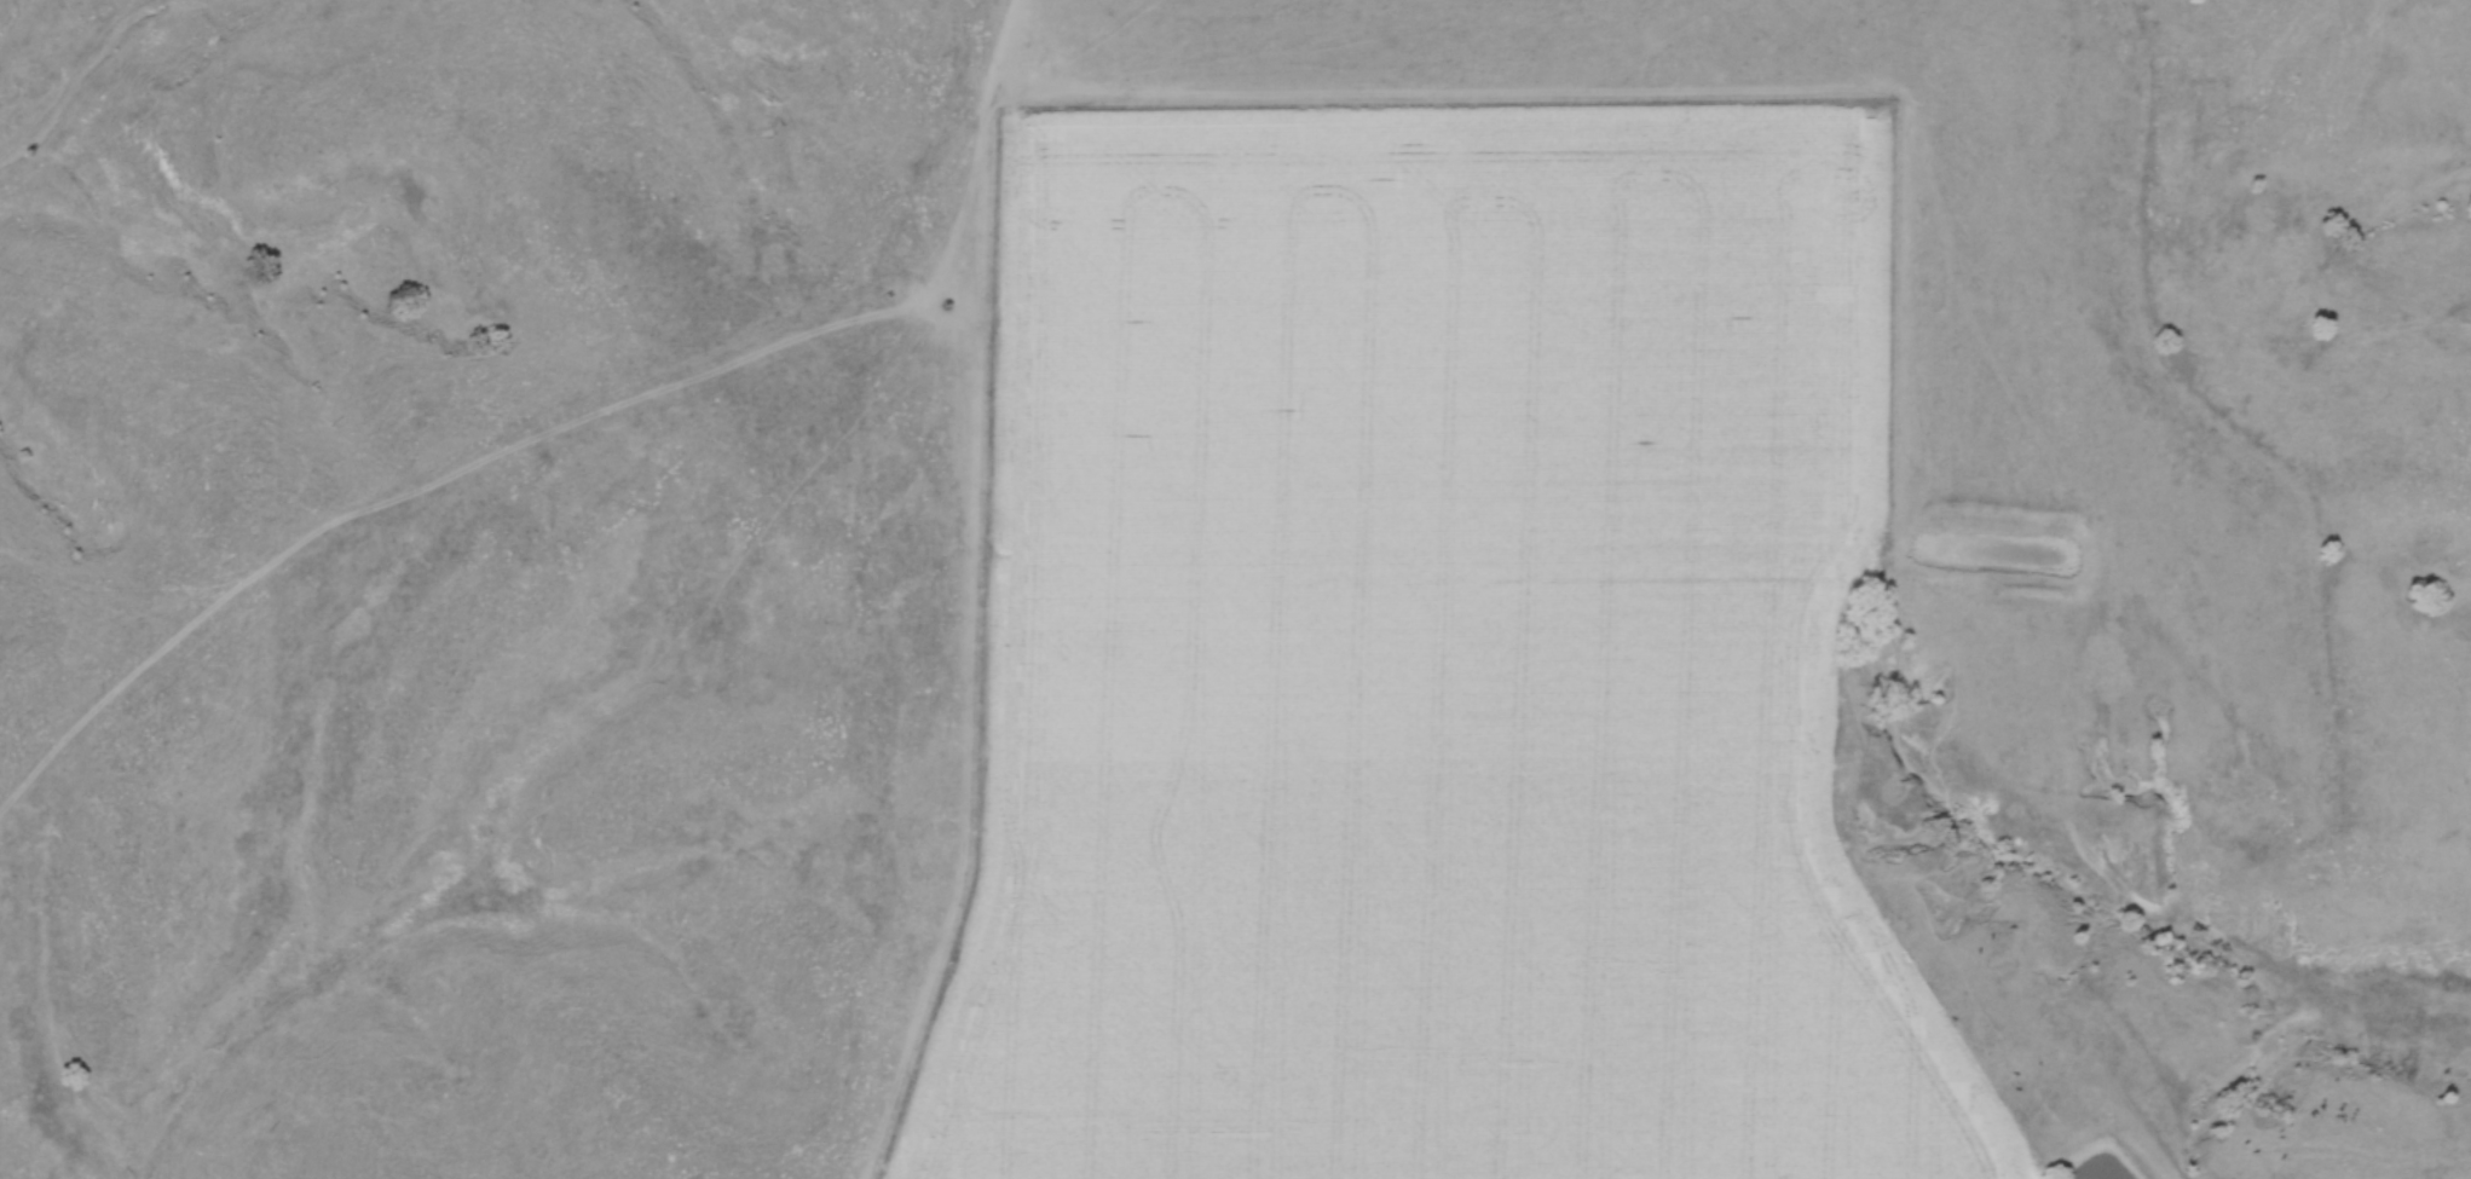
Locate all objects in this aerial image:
crop: (1449, 658)

